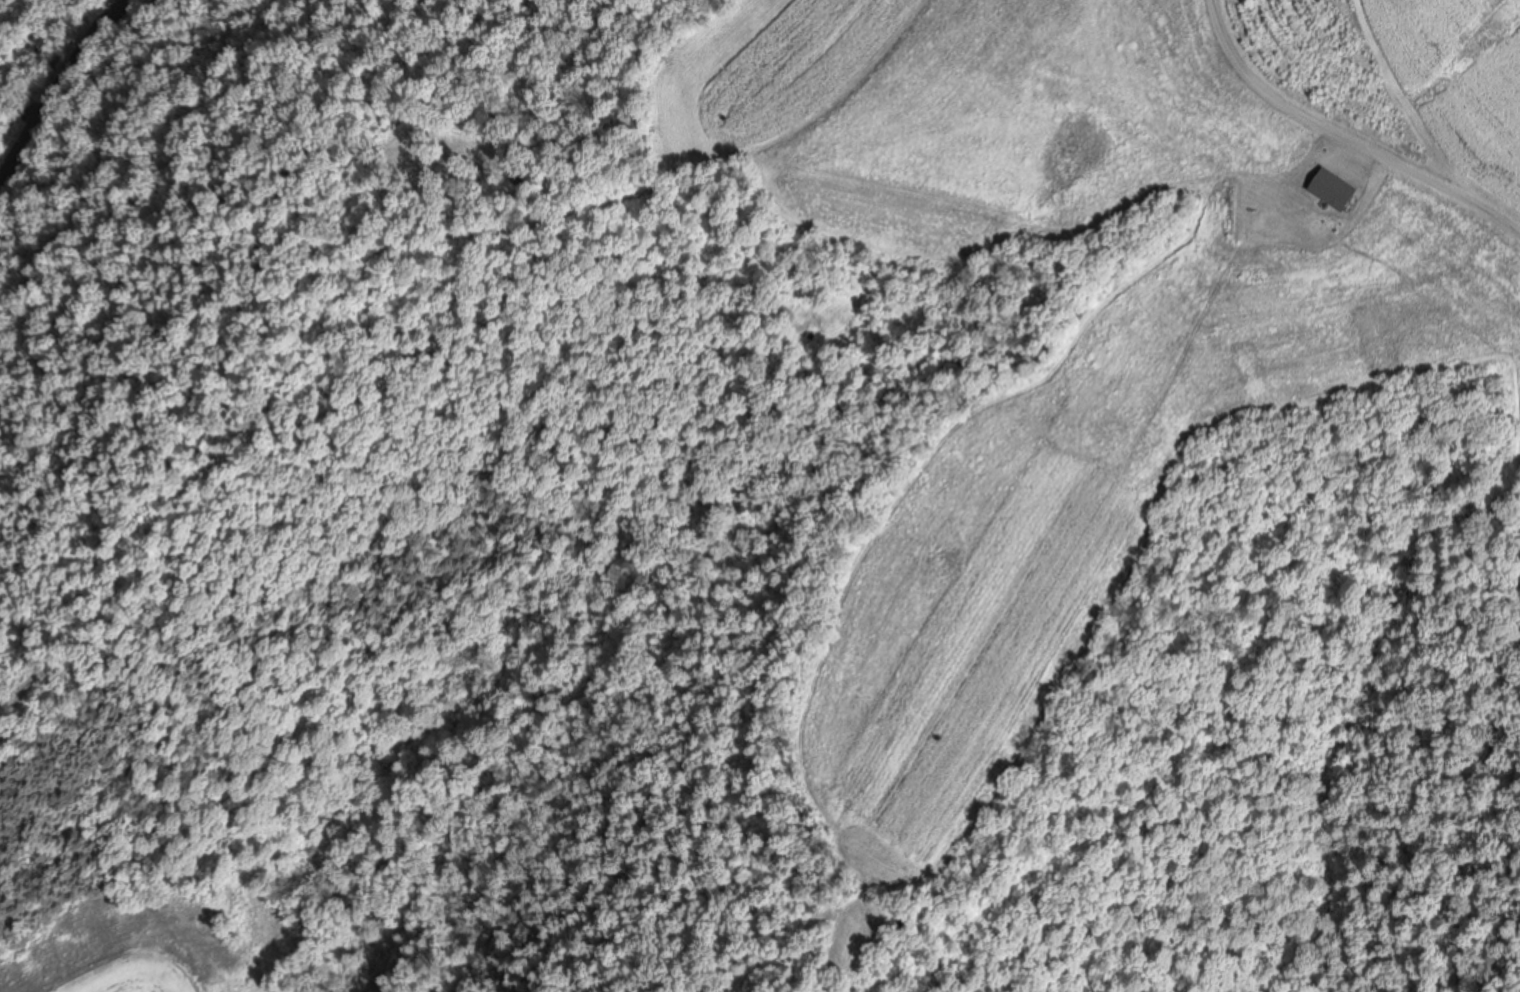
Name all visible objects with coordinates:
road: (56, 82)
road: (1343, 139)

